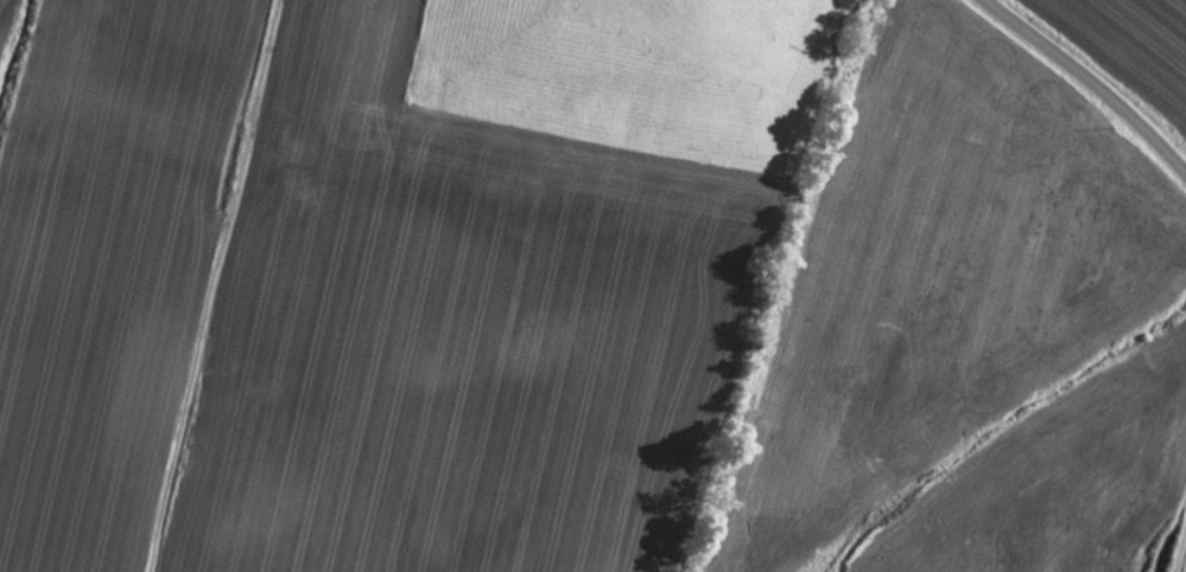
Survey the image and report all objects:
road: (1089, 81)
road: (1177, 544)

